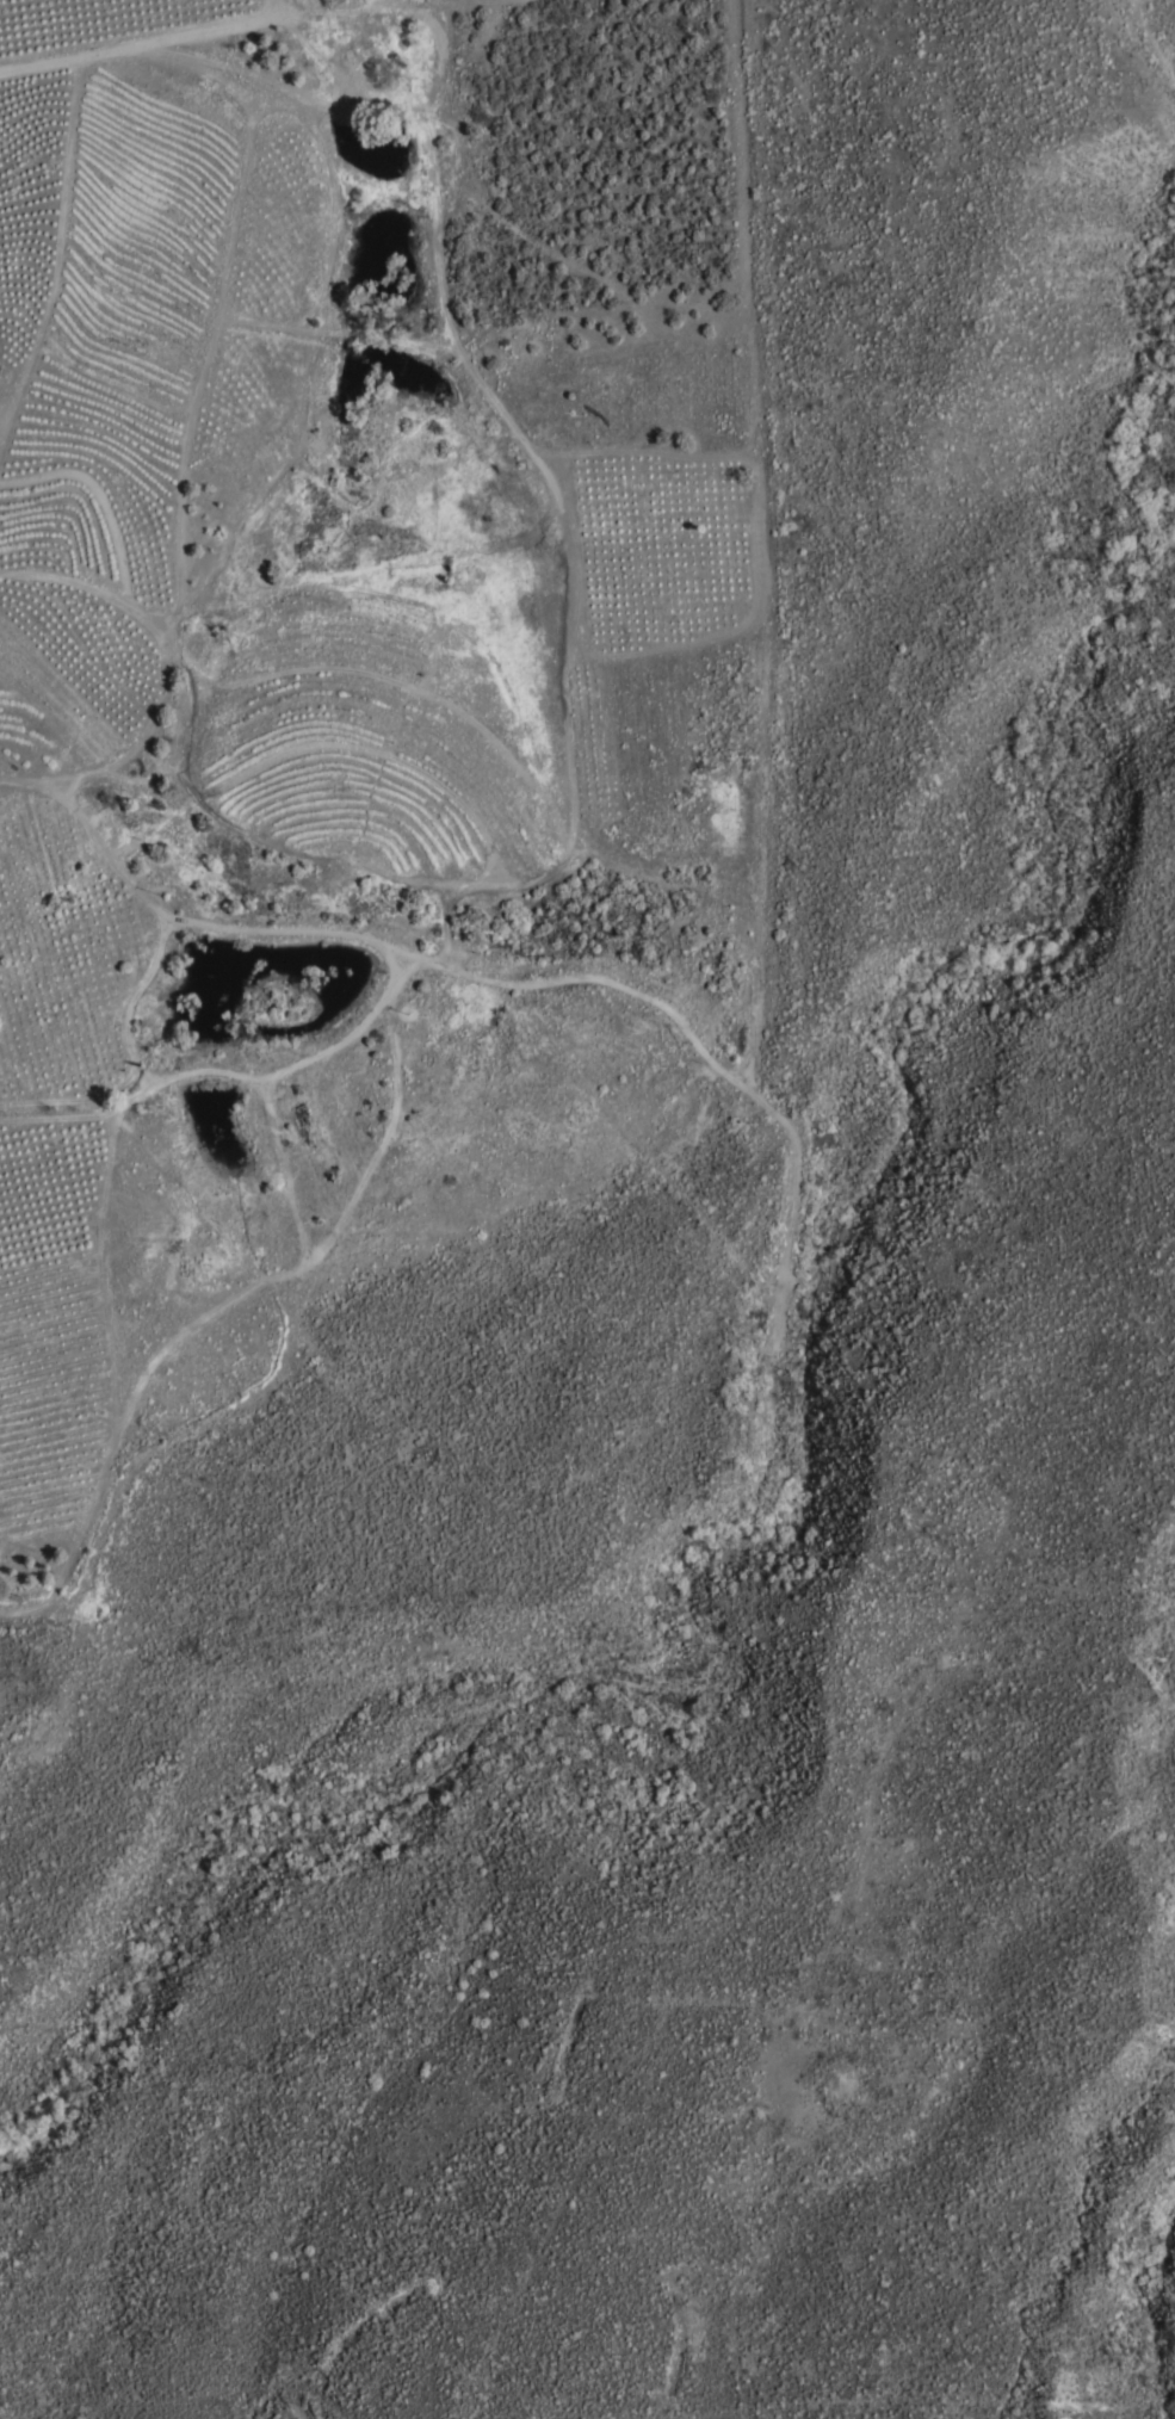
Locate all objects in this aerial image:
crop: (234, 657)

